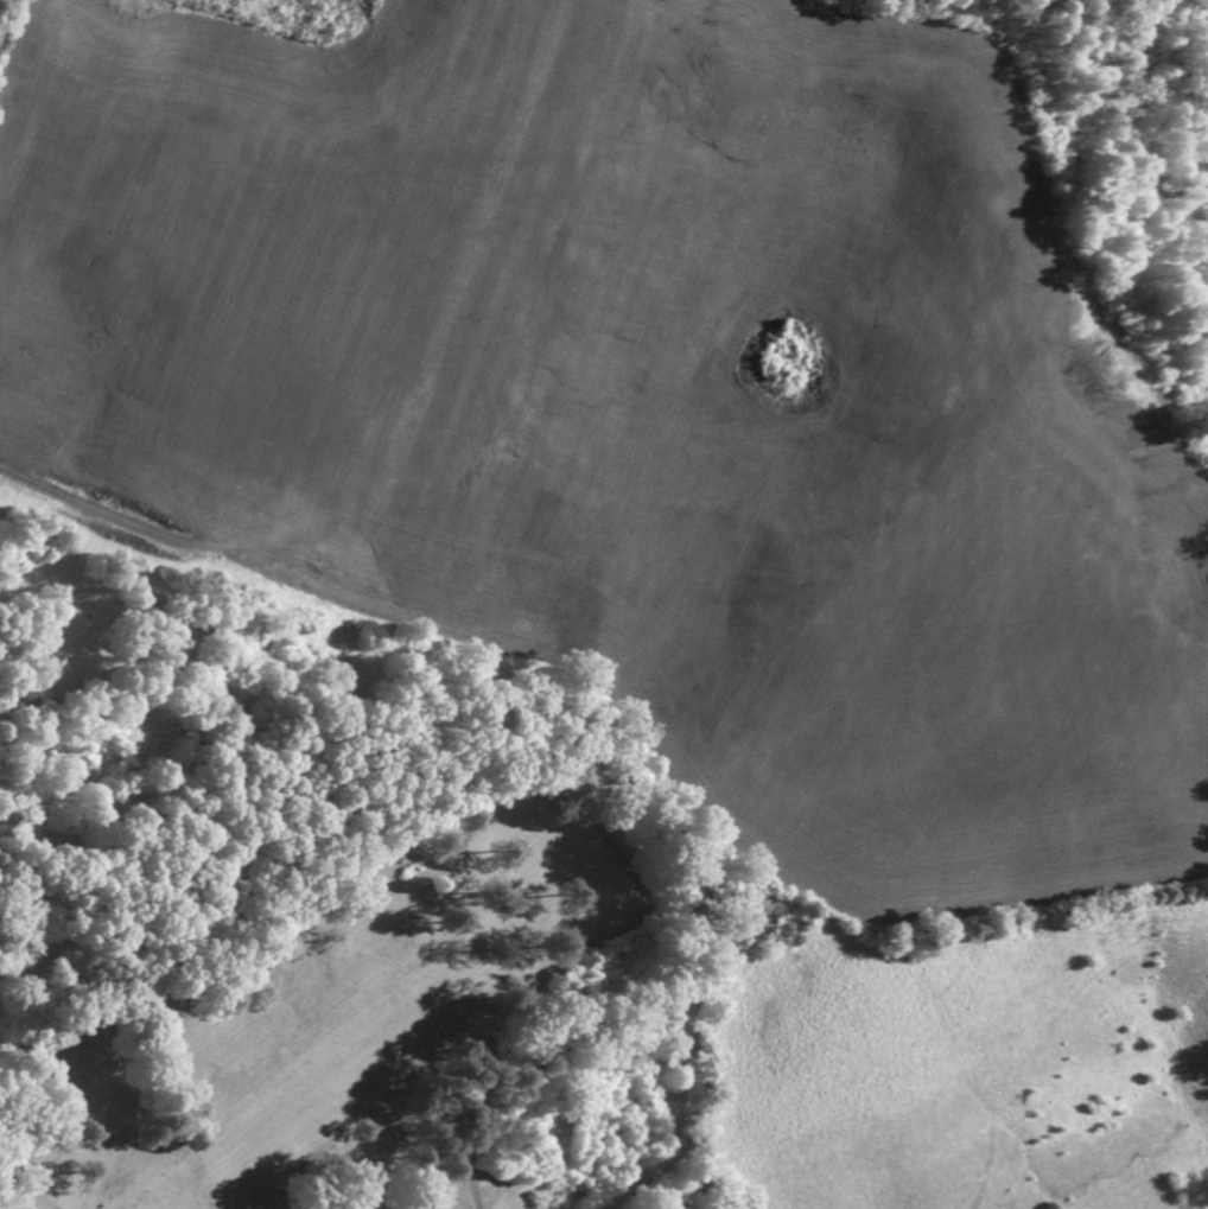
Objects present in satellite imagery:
road: (678, 1128)
road: (388, 1132)

